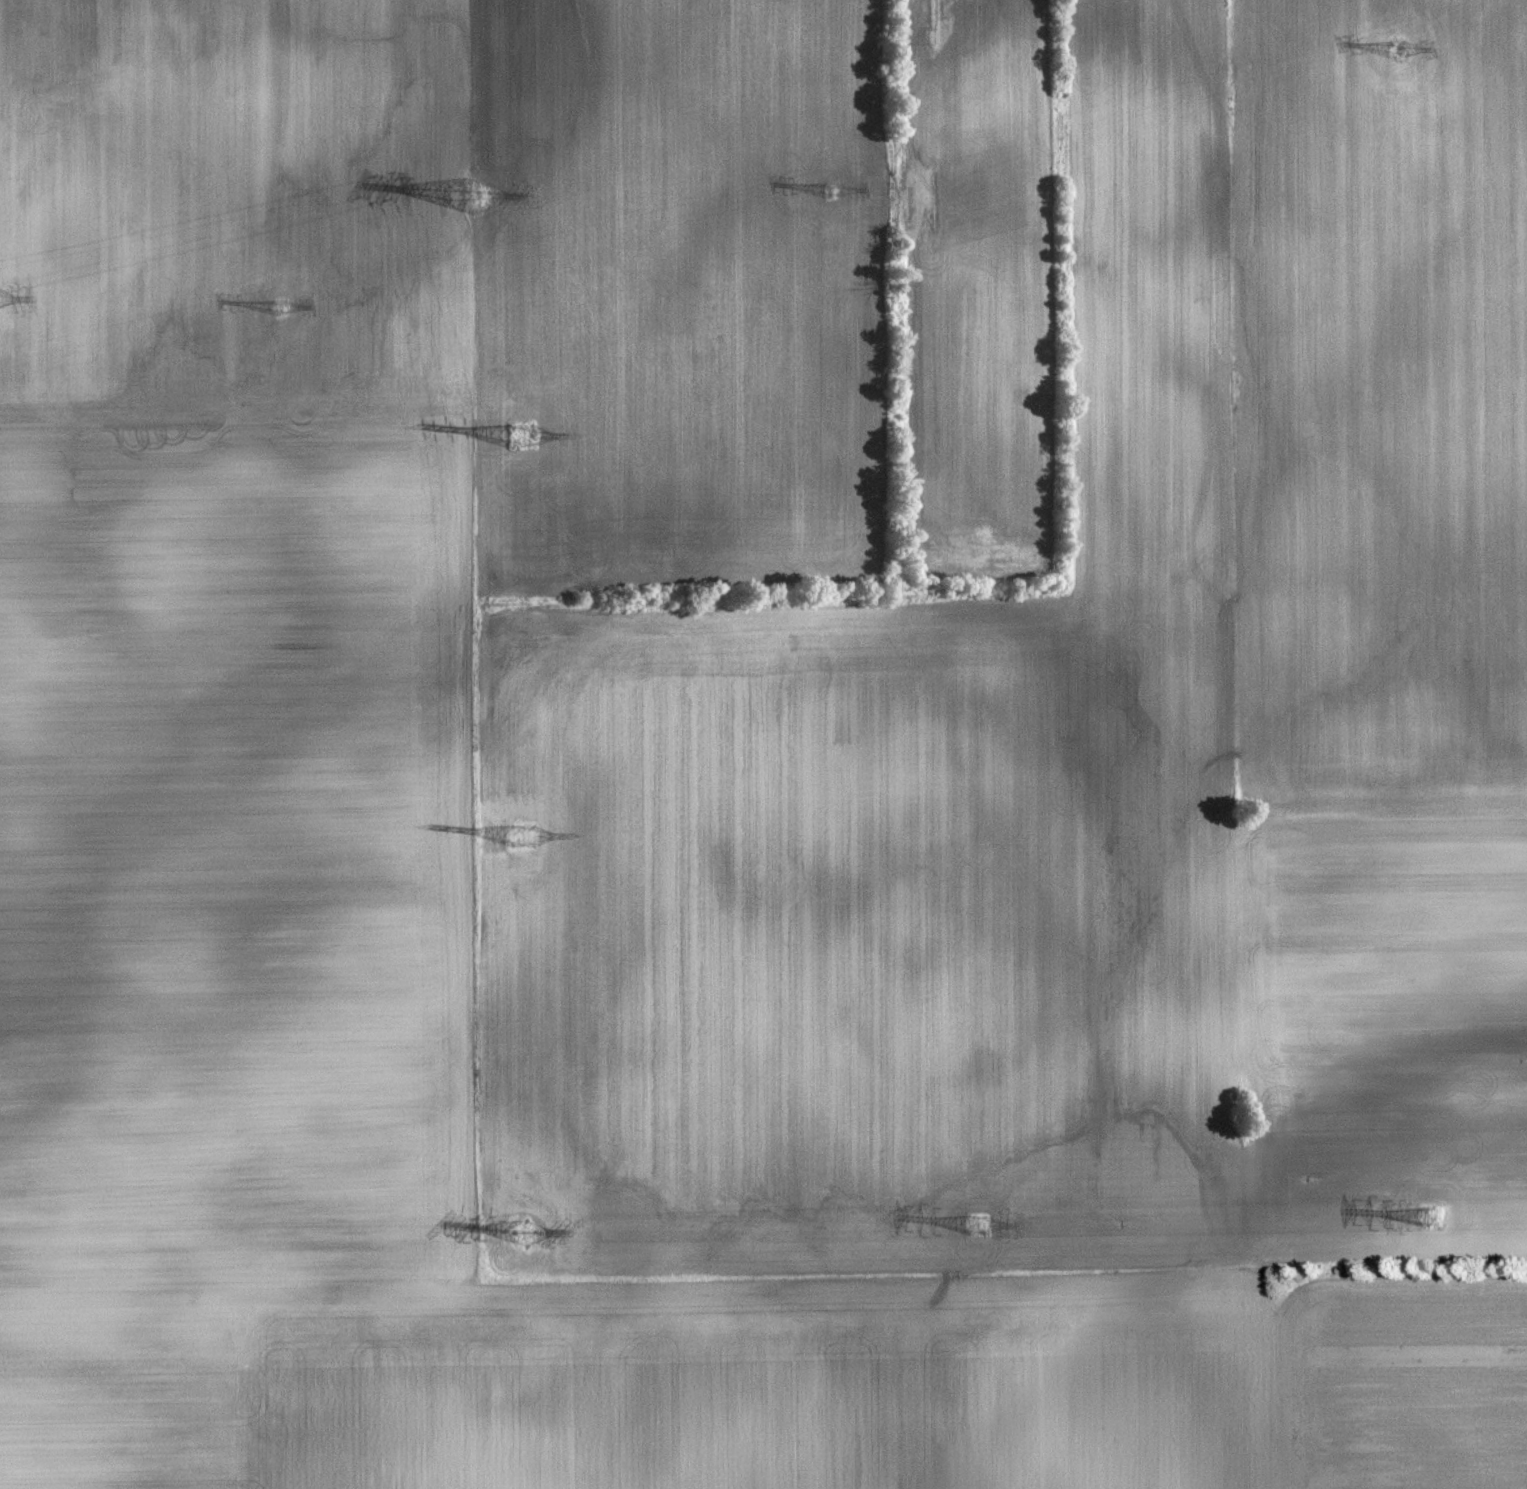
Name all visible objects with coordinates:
power tower: (1398, 49)
power tower: (832, 190)
power tower: (470, 198)
power tower: (280, 308)
power tower: (520, 436)
power tower: (522, 836)
power tower: (1432, 1219)
power tower: (978, 1227)
power tower: (526, 1233)

